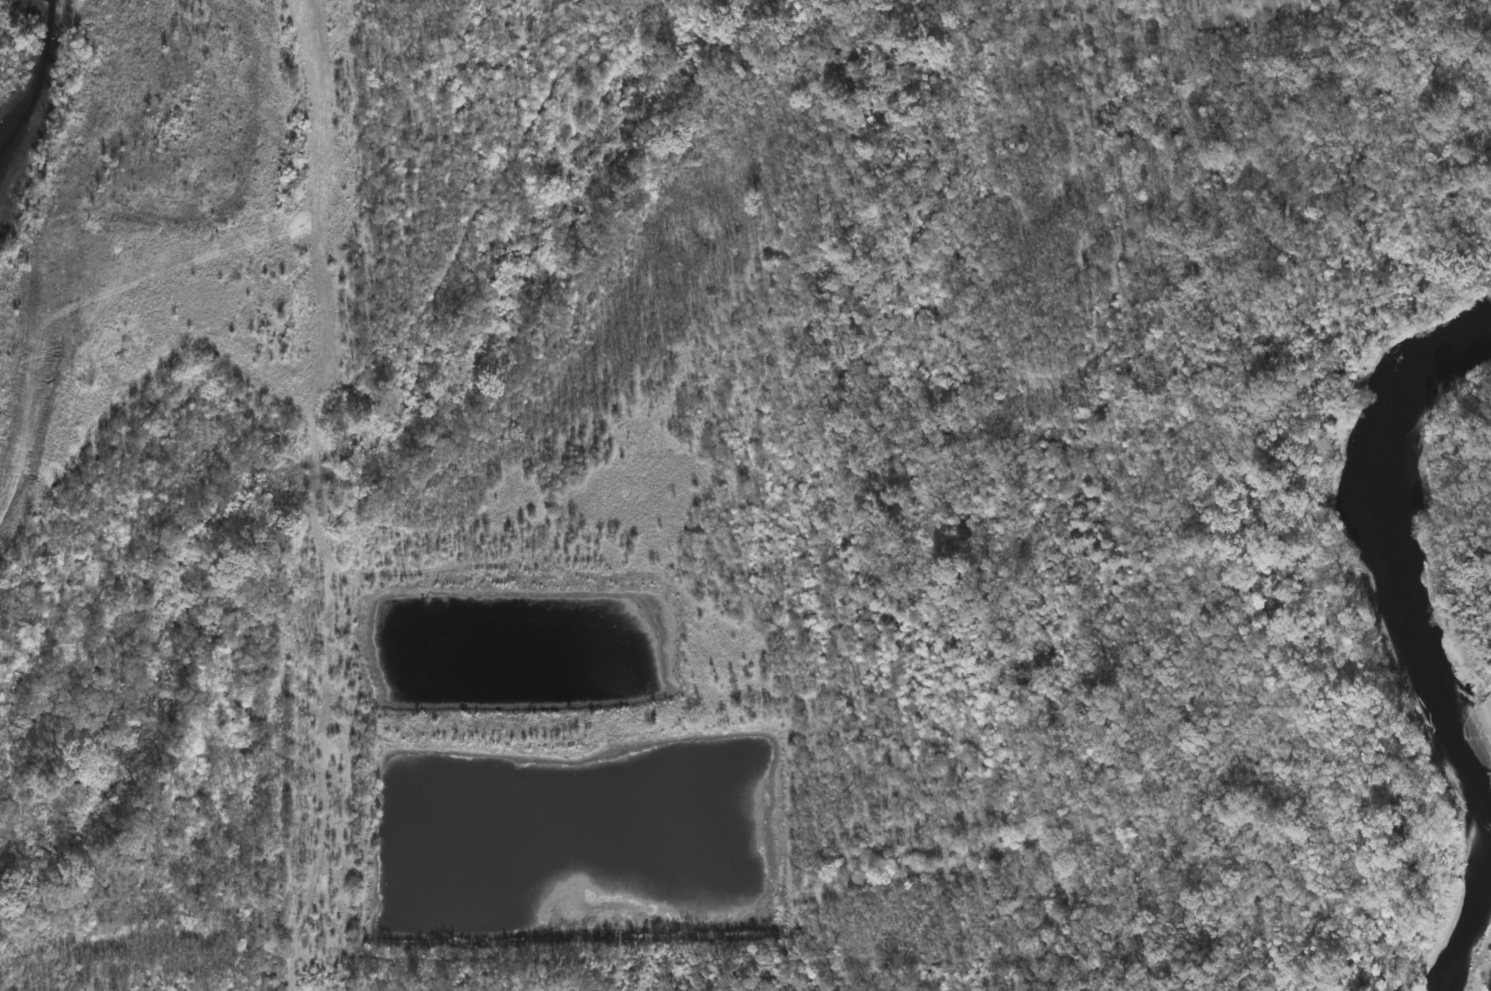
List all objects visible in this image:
road: (1210, 14)
road: (364, 368)
river: (1392, 538)
river: (1490, 988)

